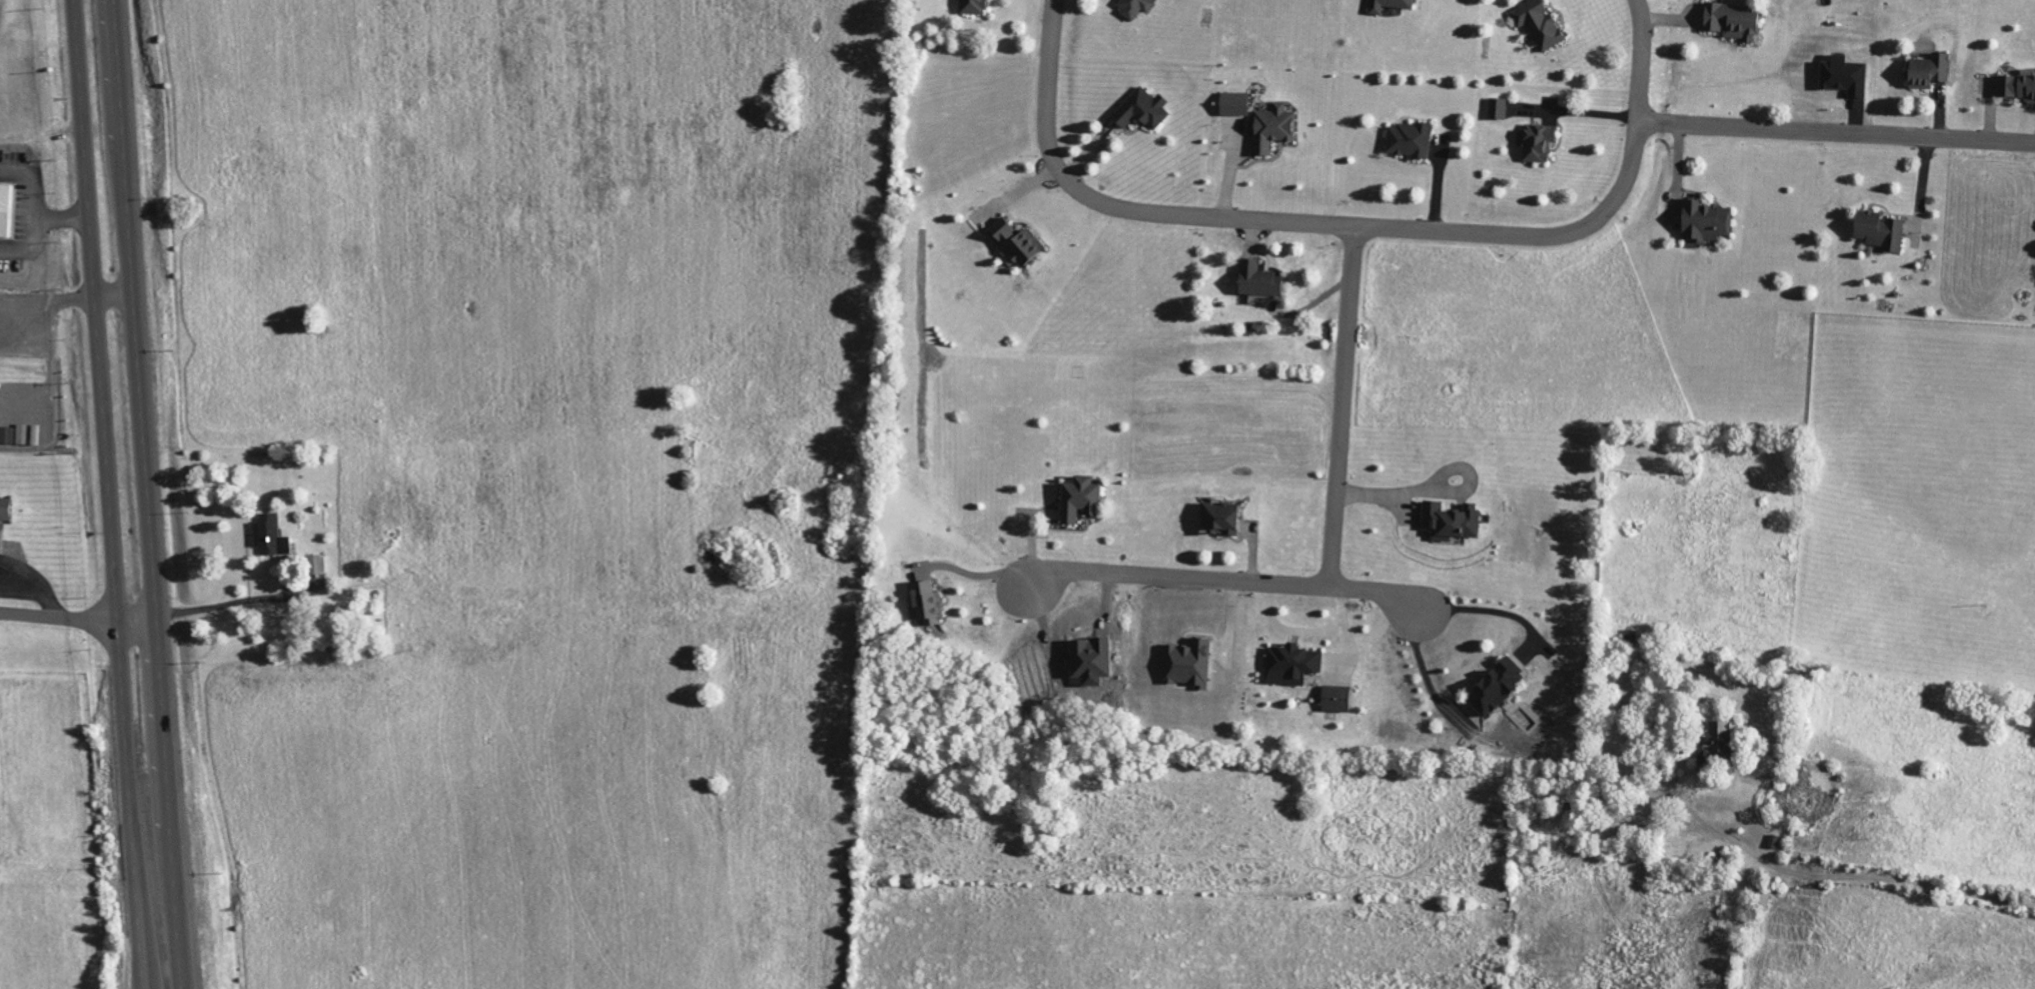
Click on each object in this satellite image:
building: (1386, 5)
building: (972, 6)
building: (1131, 6)
building: (1729, 19)
building: (1535, 23)
building: (1925, 70)
building: (1840, 74)
building: (2016, 86)
building: (1231, 103)
building: (1496, 107)
building: (1140, 109)
building: (1270, 127)
road: (1837, 132)
building: (1406, 139)
building: (1535, 141)
road: (1677, 171)
road: (1921, 186)
road: (36, 205)
building: (10, 210)
building: (1702, 220)
road: (1351, 222)
building: (1876, 229)
building: (1013, 241)
building: (1255, 278)
road: (50, 352)
road: (1341, 404)
building: (25, 434)
building: (40, 434)
building: (10, 435)
road: (106, 494)
road: (145, 494)
building: (1076, 499)
building: (8, 514)
building: (1218, 517)
building: (1447, 520)
building: (275, 535)
road: (1224, 579)
building: (923, 602)
road: (233, 605)
road: (58, 618)
road: (135, 623)
building: (1088, 657)
building: (1186, 664)
building: (1289, 664)
building: (1492, 685)
building: (1335, 698)
building: (1710, 742)

